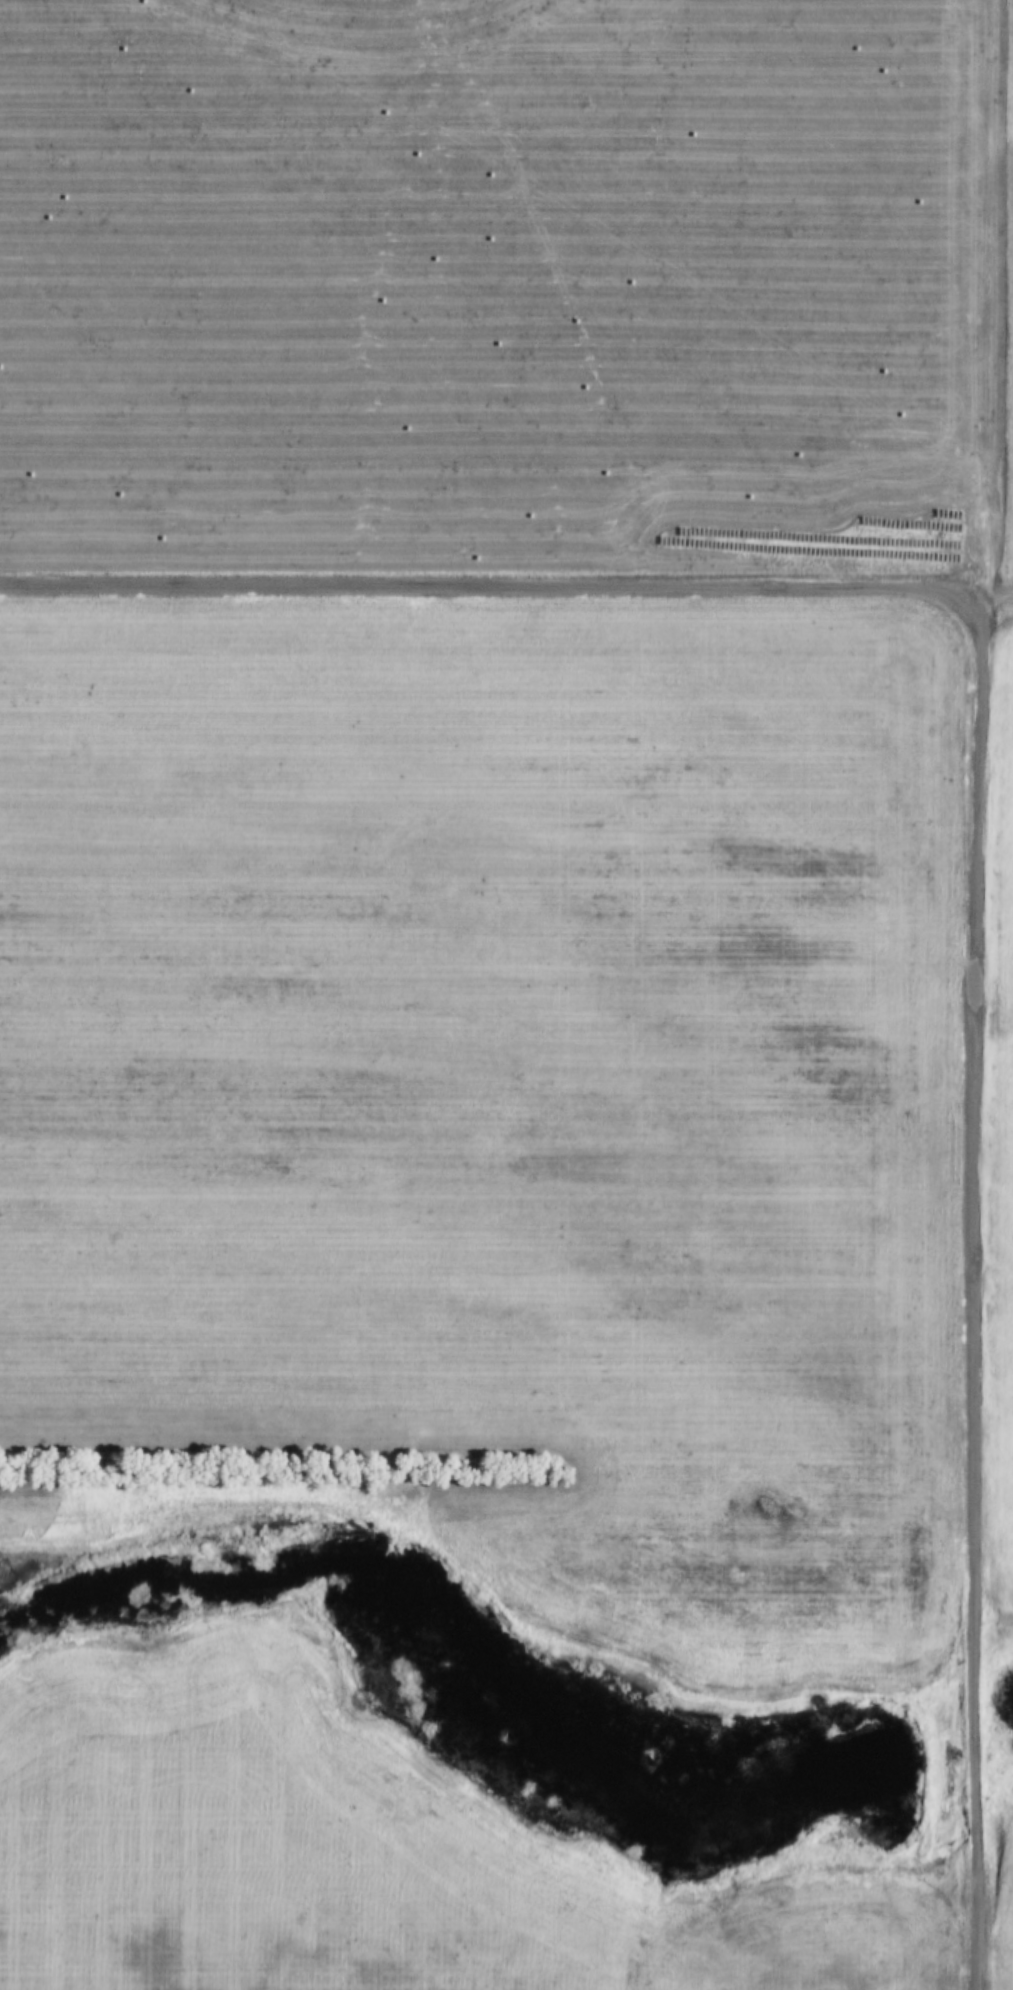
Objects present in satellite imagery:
road: (506, 575)
road: (972, 1287)

